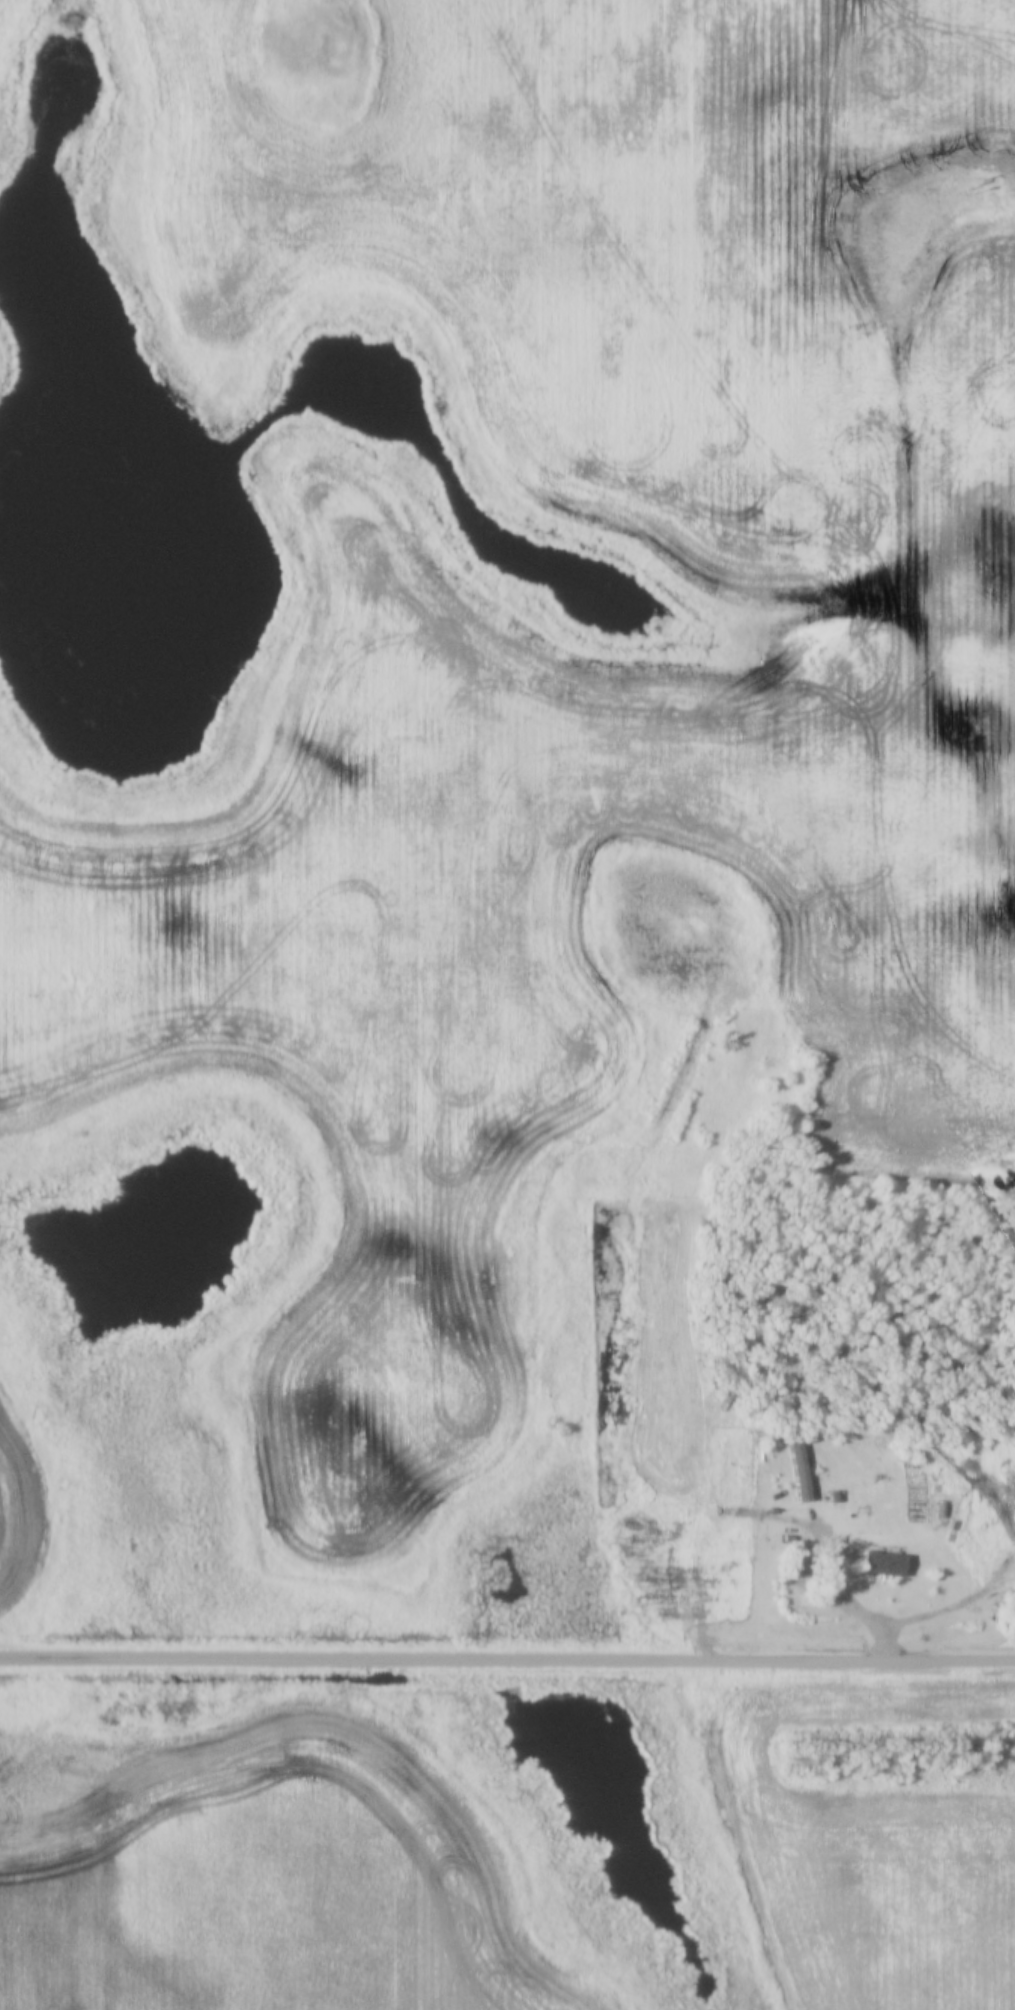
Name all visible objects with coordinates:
building: (800, 1473)
building: (942, 1514)
building: (880, 1566)
road: (850, 1604)
road: (507, 1657)

